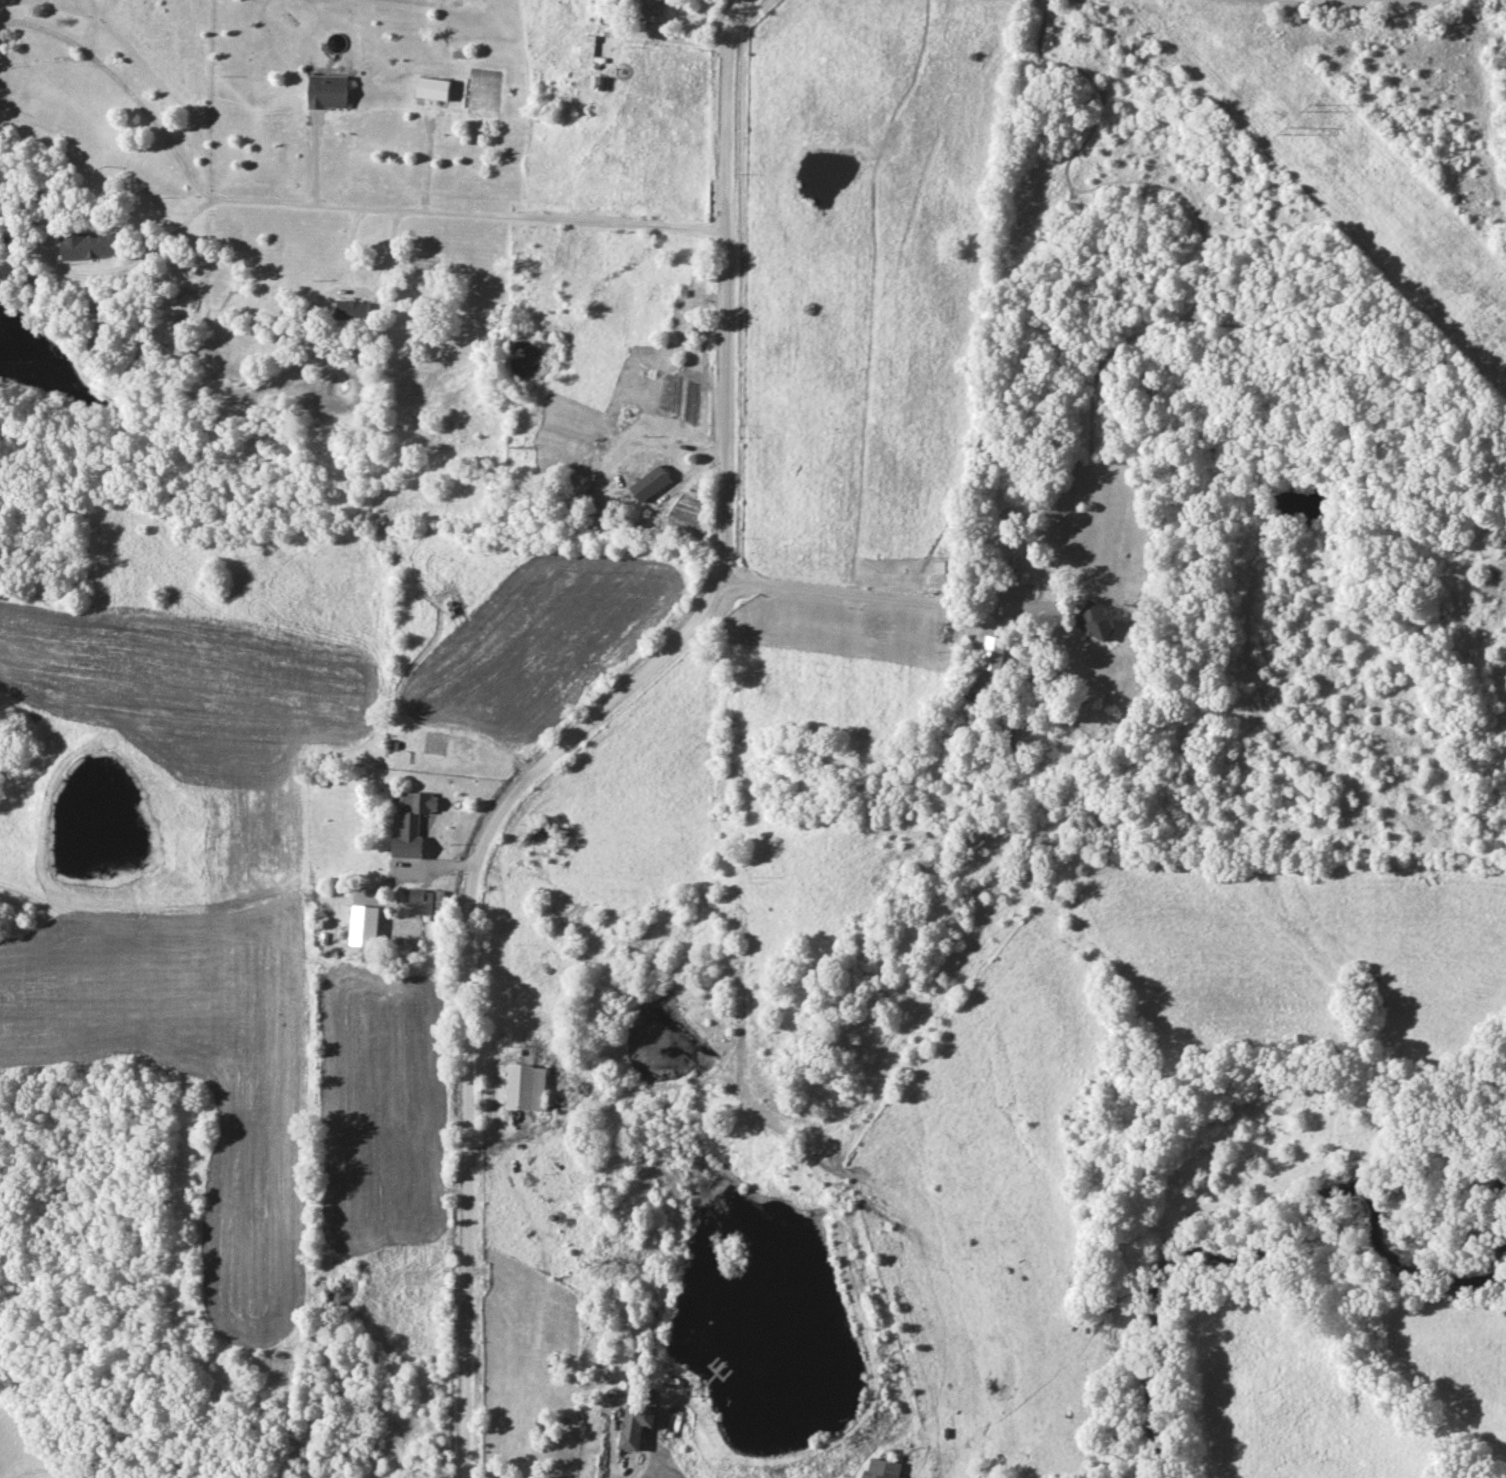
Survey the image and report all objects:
building: (652, 8)
road: (1324, 8)
building: (589, 48)
building: (435, 89)
building: (329, 92)
power tower: (1312, 110)
power tower: (1288, 130)
road: (325, 205)
building: (5, 213)
building: (89, 246)
road: (127, 264)
building: (353, 311)
building: (312, 325)
building: (652, 484)
building: (953, 568)
road: (896, 600)
building: (1099, 621)
road: (589, 732)
building: (411, 823)
road: (425, 864)
building: (421, 902)
building: (527, 1088)
building: (637, 1425)
building: (883, 1468)

